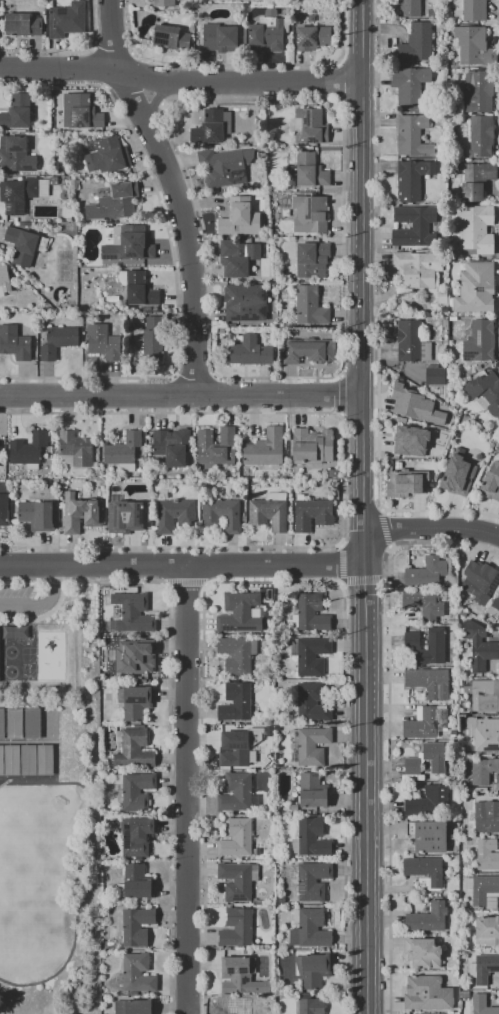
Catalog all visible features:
building: (315, 0)
building: (163, 2)
building: (407, 8)
building: (474, 10)
building: (431, 12)
building: (67, 19)
building: (22, 24)
building: (267, 32)
building: (170, 37)
building: (220, 37)
building: (311, 37)
building: (417, 43)
building: (474, 46)
road: (180, 79)
building: (409, 87)
building: (477, 91)
building: (16, 111)
building: (83, 111)
building: (311, 125)
building: (211, 126)
building: (411, 135)
building: (481, 135)
building: (15, 152)
building: (108, 156)
building: (224, 166)
building: (307, 170)
building: (412, 178)
building: (476, 180)
road: (183, 188)
building: (17, 194)
building: (114, 202)
building: (312, 211)
building: (239, 217)
building: (413, 228)
building: (476, 228)
building: (24, 244)
building: (128, 245)
building: (312, 258)
building: (236, 261)
building: (414, 269)
building: (6, 280)
building: (475, 288)
building: (139, 289)
building: (442, 296)
building: (243, 302)
building: (310, 306)
building: (150, 337)
building: (57, 341)
building: (103, 341)
building: (479, 341)
building: (14, 342)
building: (411, 342)
building: (308, 350)
building: (248, 352)
road: (339, 374)
road: (172, 375)
road: (214, 375)
building: (435, 375)
road: (85, 377)
road: (277, 377)
road: (193, 381)
building: (490, 392)
road: (181, 394)
road: (341, 394)
building: (414, 405)
road: (169, 413)
road: (339, 415)
building: (410, 440)
building: (311, 446)
building: (215, 447)
building: (27, 448)
building: (75, 448)
building: (169, 448)
building: (265, 448)
building: (122, 449)
building: (333, 472)
building: (458, 475)
building: (491, 482)
building: (406, 483)
road: (364, 506)
building: (269, 511)
building: (4, 512)
building: (80, 513)
building: (126, 514)
building: (221, 514)
building: (311, 514)
building: (36, 515)
building: (175, 515)
road: (432, 529)
road: (183, 569)
building: (426, 572)
building: (482, 584)
parking lot: (14, 600)
building: (424, 602)
building: (496, 602)
road: (42, 604)
building: (133, 612)
building: (310, 612)
building: (462, 612)
building: (239, 613)
building: (436, 639)
building: (479, 646)
building: (236, 654)
building: (311, 655)
building: (136, 656)
building: (428, 682)
building: (485, 695)
building: (134, 701)
building: (312, 701)
building: (235, 702)
building: (425, 722)
building: (1, 723)
building: (14, 723)
building: (32, 723)
building: (483, 732)
building: (238, 744)
building: (312, 745)
building: (134, 749)
building: (434, 755)
building: (1, 760)
building: (12, 760)
building: (28, 760)
building: (45, 760)
building: (412, 765)
building: (484, 771)
building: (312, 790)
building: (137, 791)
road: (189, 791)
building: (236, 793)
building: (426, 800)
building: (486, 816)
building: (137, 835)
building: (429, 836)
building: (236, 837)
building: (311, 837)
building: (487, 853)
building: (425, 869)
building: (236, 880)
building: (312, 880)
building: (136, 881)
building: (481, 888)
building: (490, 901)
building: (463, 906)
building: (428, 917)
building: (136, 926)
building: (236, 927)
building: (310, 929)
building: (487, 930)
building: (423, 952)
building: (485, 968)
building: (314, 969)
building: (135, 974)
building: (240, 975)
building: (427, 993)
building: (464, 995)
building: (238, 1005)
building: (482, 1005)
building: (133, 1006)
building: (311, 1006)
building: (440, 1013)

